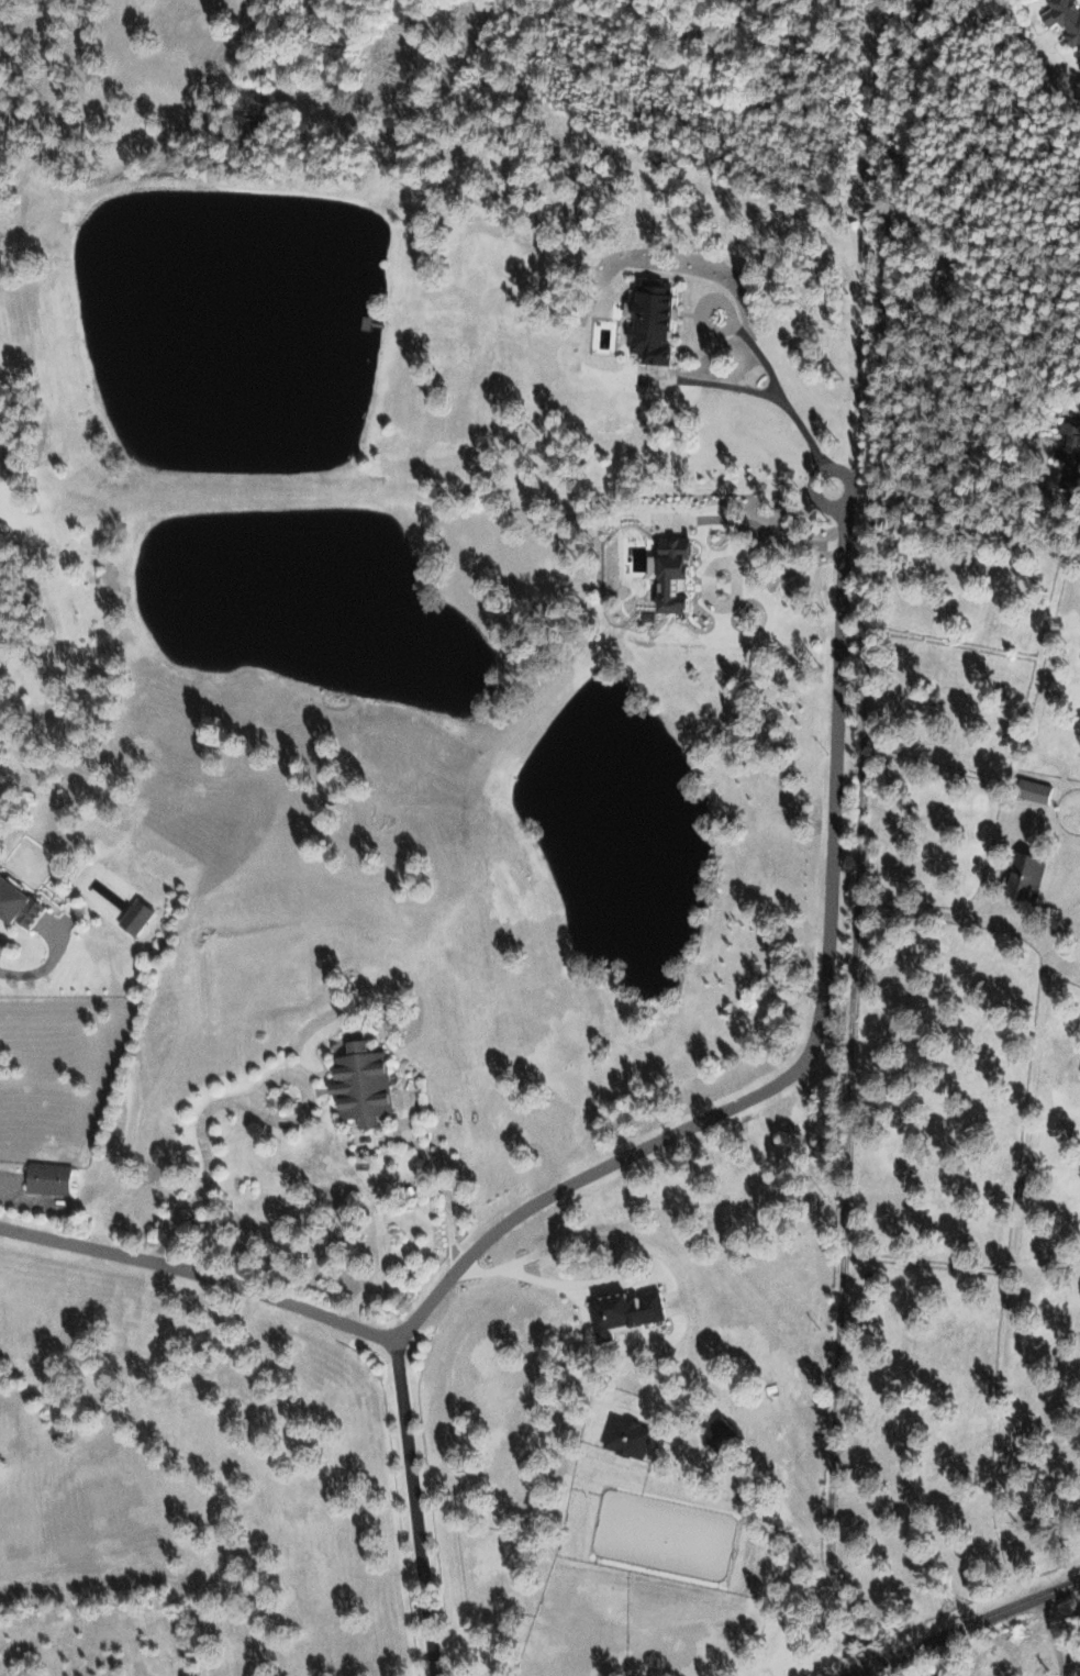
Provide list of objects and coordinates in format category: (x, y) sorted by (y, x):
building: (1064, 20)
building: (646, 322)
building: (1066, 446)
building: (663, 573)
dam: (568, 751)
building: (1028, 790)
dam: (542, 793)
building: (1021, 877)
building: (15, 907)
building: (131, 917)
building: (357, 1084)
road: (681, 1130)
building: (46, 1177)
road: (179, 1269)
building: (622, 1312)
road: (374, 1334)
building: (712, 1431)
building: (622, 1436)
road: (964, 1624)

